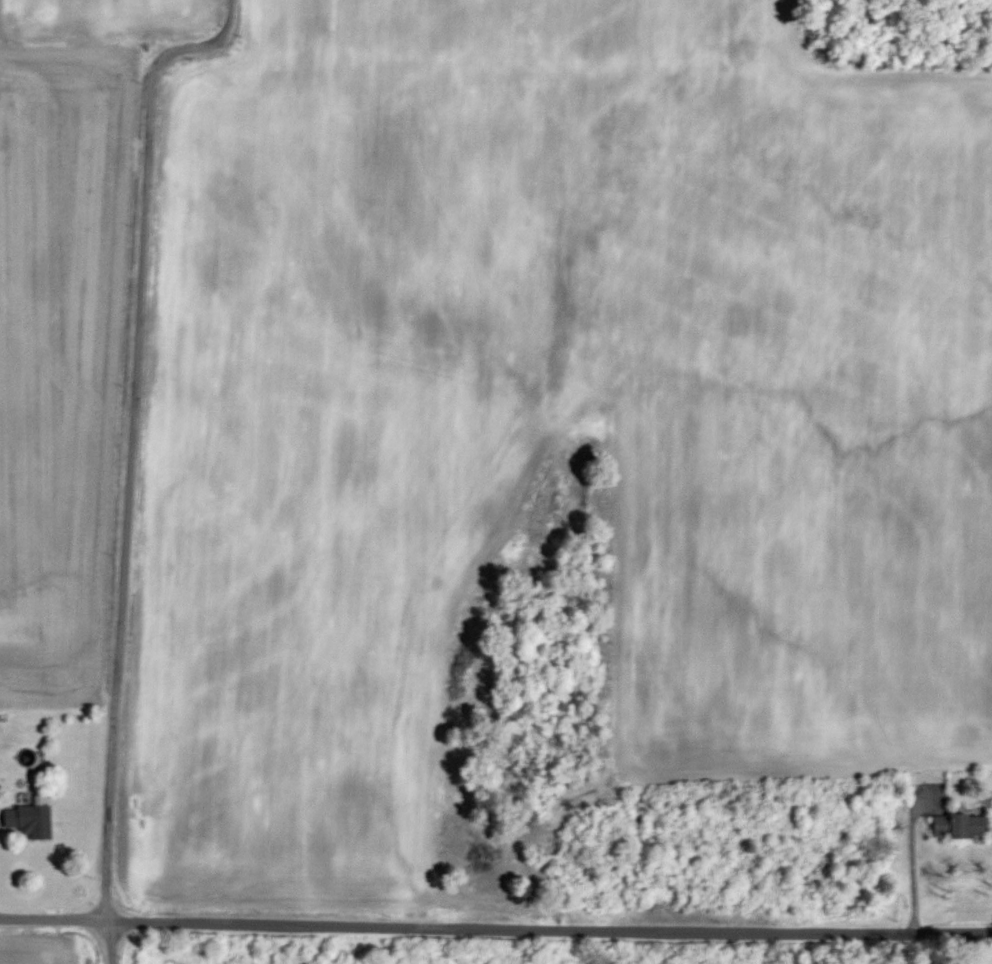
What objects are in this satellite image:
road: (132, 435)
building: (28, 820)
building: (959, 825)
road: (909, 864)
road: (495, 927)
road: (110, 942)

